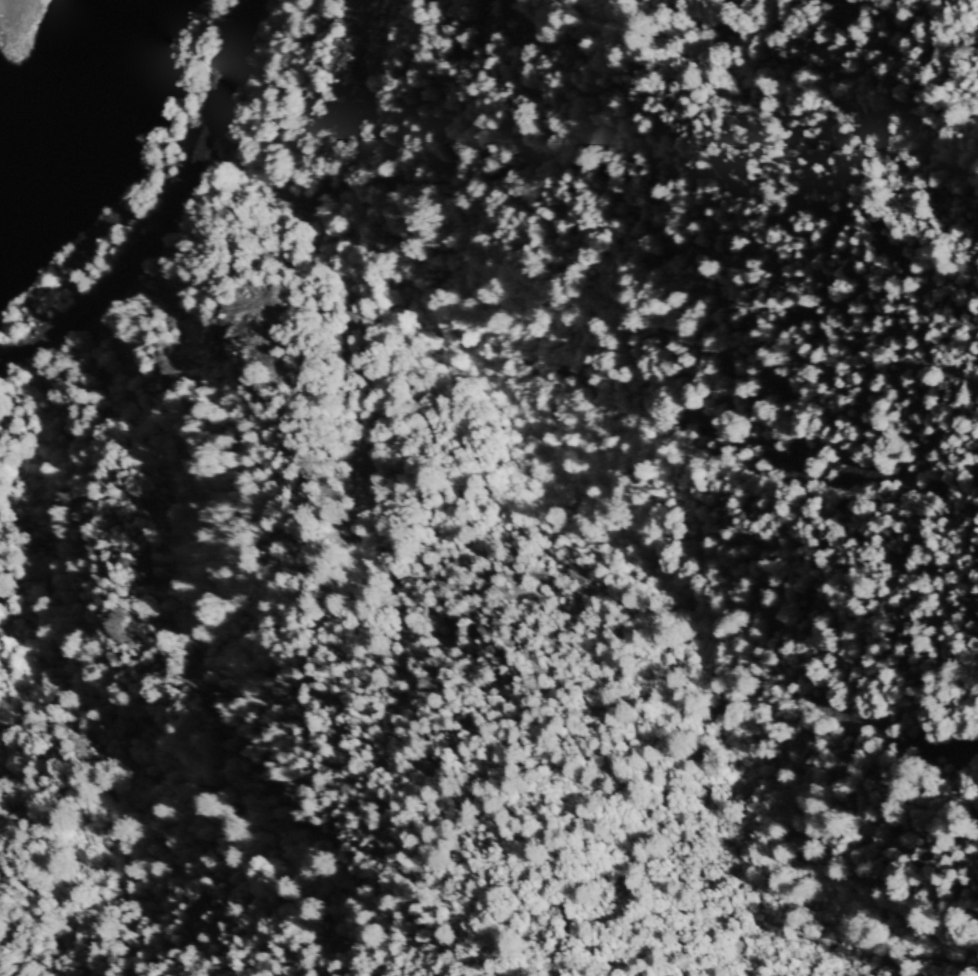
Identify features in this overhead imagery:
parking lot: (6, 14)
river: (111, 60)
river: (66, 163)
railway: (169, 210)
river: (17, 212)
power tower: (244, 327)

